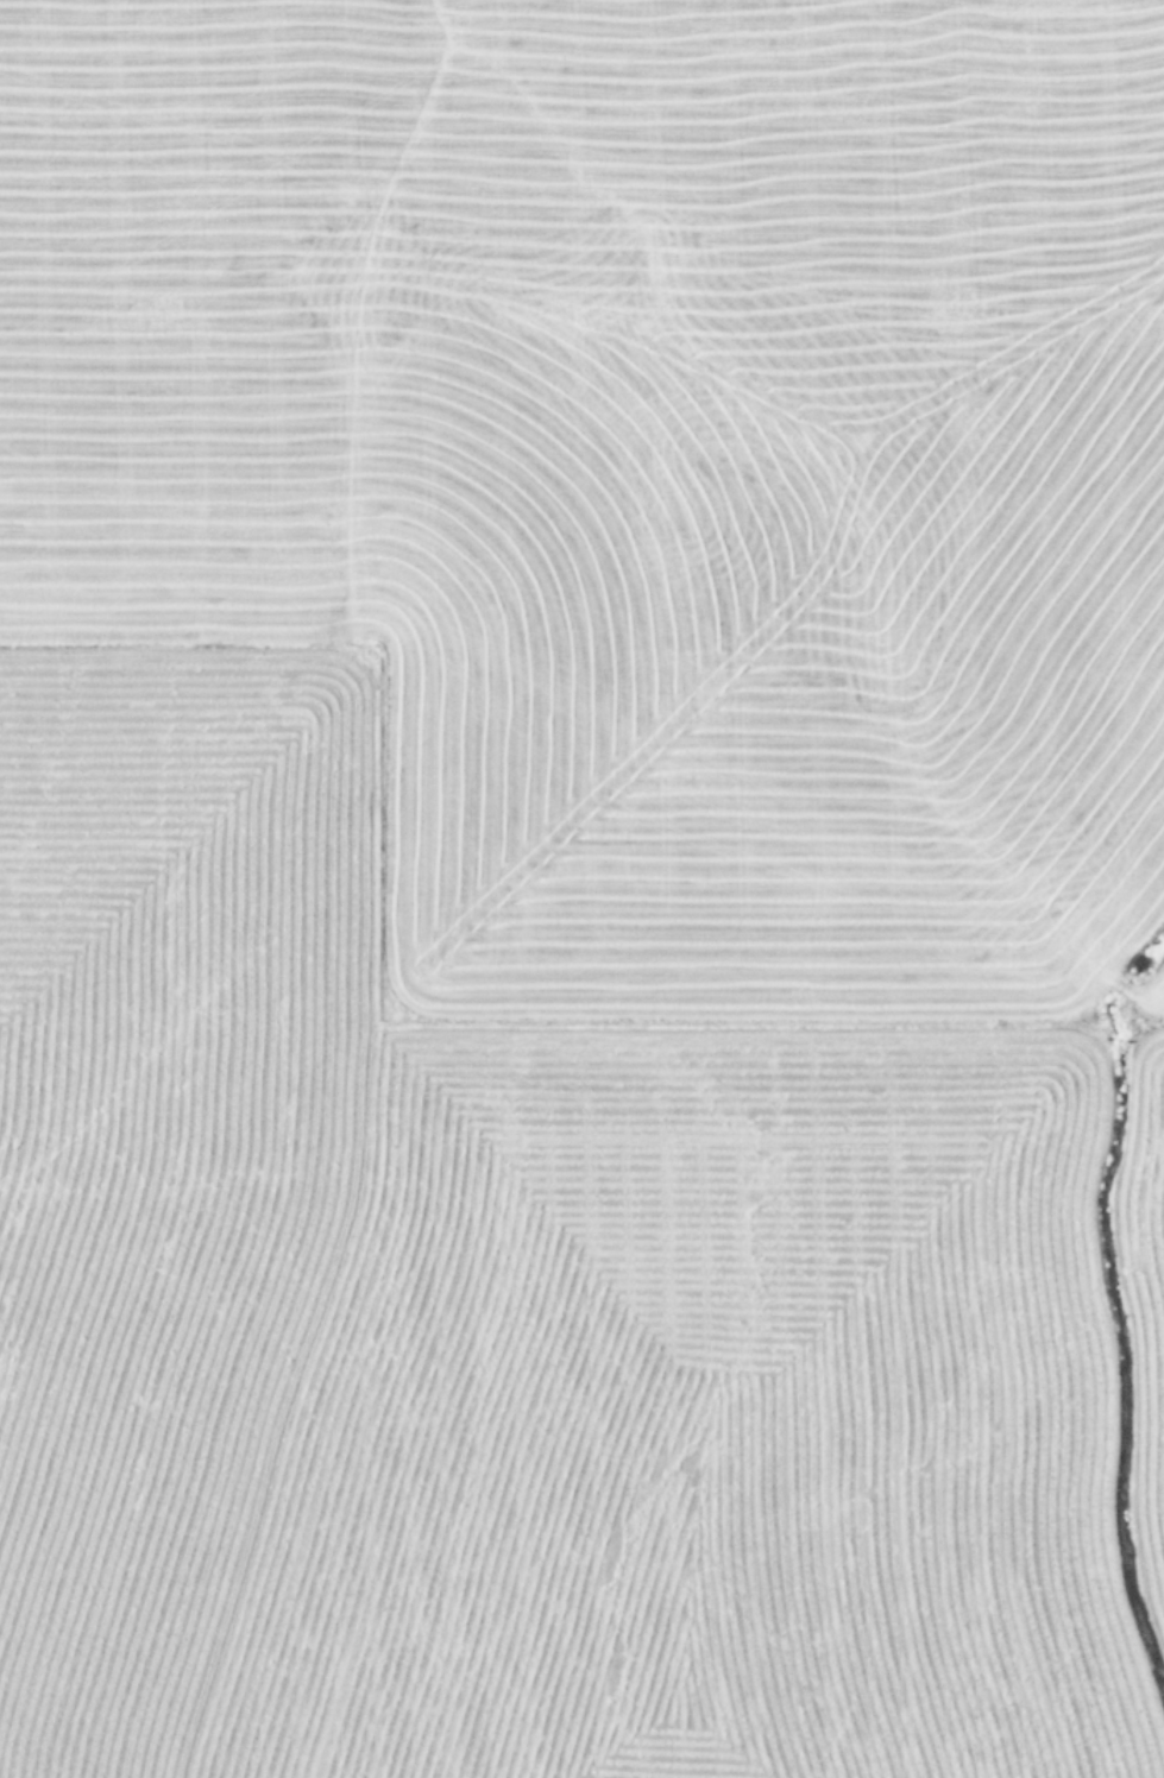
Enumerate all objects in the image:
crop: (581, 889)

